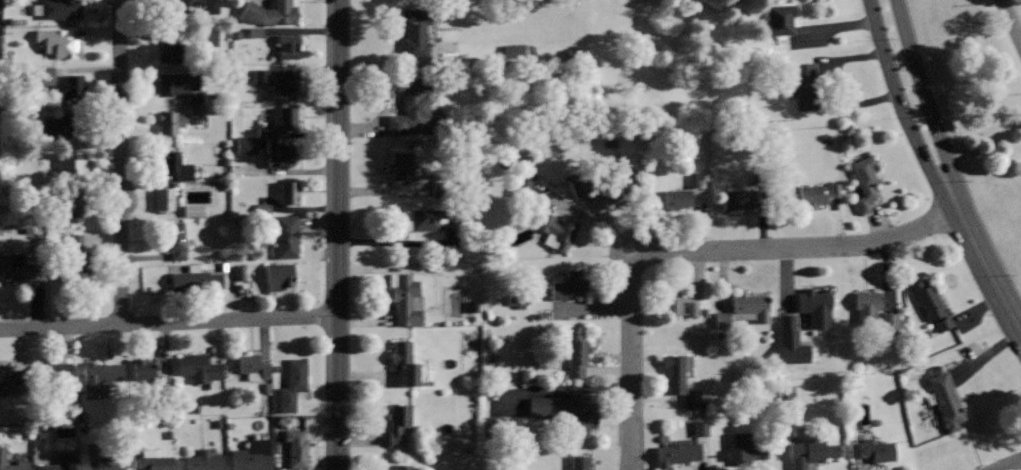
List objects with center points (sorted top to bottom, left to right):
building: (58, 8)
building: (185, 11)
building: (270, 12)
building: (780, 19)
road: (1011, 20)
building: (415, 31)
building: (255, 32)
building: (60, 43)
building: (288, 46)
building: (169, 51)
building: (514, 51)
building: (280, 79)
building: (176, 82)
building: (72, 85)
building: (803, 86)
building: (194, 97)
building: (410, 103)
building: (196, 114)
building: (288, 117)
building: (170, 122)
building: (56, 126)
building: (264, 132)
building: (244, 145)
road: (955, 147)
building: (282, 155)
road: (121, 162)
building: (72, 164)
building: (177, 164)
building: (401, 165)
road: (941, 169)
building: (693, 179)
building: (865, 179)
building: (525, 180)
building: (577, 185)
building: (619, 187)
building: (289, 192)
building: (817, 194)
building: (164, 198)
building: (677, 198)
building: (740, 198)
building: (65, 209)
building: (262, 209)
building: (192, 210)
building: (428, 218)
building: (561, 232)
road: (338, 234)
building: (286, 236)
building: (175, 240)
road: (696, 250)
building: (77, 255)
building: (20, 267)
building: (239, 272)
building: (279, 276)
building: (195, 283)
building: (569, 285)
building: (406, 299)
building: (517, 301)
building: (751, 304)
building: (677, 305)
building: (933, 305)
building: (816, 307)
building: (866, 311)
road: (168, 322)
building: (791, 341)
building: (576, 350)
building: (405, 362)
building: (253, 365)
building: (142, 368)
building: (201, 368)
building: (14, 377)
building: (99, 377)
building: (58, 378)
building: (680, 380)
building: (293, 383)
building: (947, 400)
building: (567, 411)
building: (400, 423)
building: (700, 428)
building: (296, 447)
building: (745, 448)
building: (873, 449)
building: (678, 452)
building: (811, 452)
building: (2, 453)
building: (253, 455)
building: (101, 458)
building: (153, 460)
building: (204, 460)
building: (64, 461)
building: (580, 463)
road: (1013, 465)
building: (400, 466)

